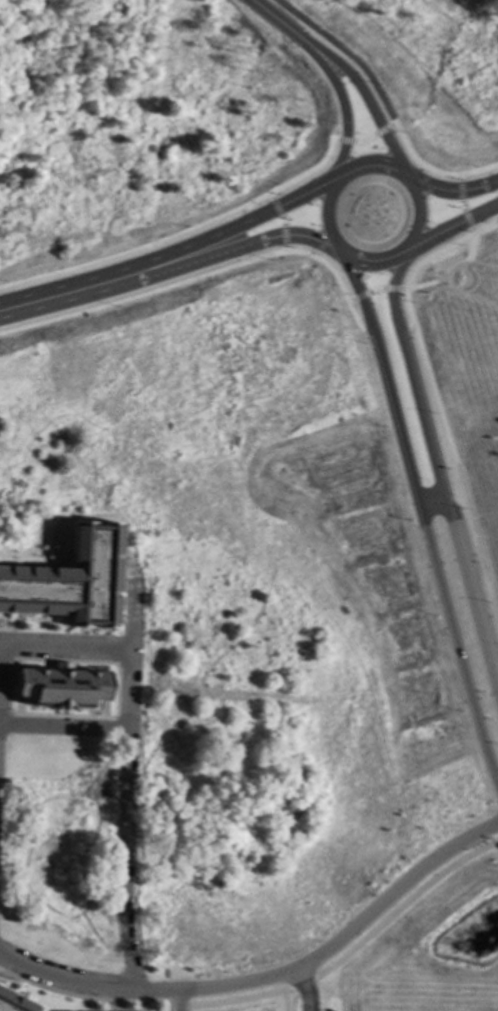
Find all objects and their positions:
road: (276, 22)
road: (343, 53)
road: (366, 102)
road: (340, 107)
road: (372, 135)
road: (495, 165)
road: (495, 167)
road: (336, 181)
road: (451, 192)
road: (290, 202)
road: (496, 205)
road: (459, 206)
road: (245, 213)
road: (494, 218)
road: (280, 221)
road: (448, 228)
road: (486, 229)
road: (285, 236)
road: (405, 246)
road: (128, 252)
road: (311, 257)
road: (234, 258)
road: (420, 264)
road: (124, 269)
road: (450, 272)
road: (116, 287)
road: (375, 290)
road: (356, 292)
road: (392, 294)
road: (470, 298)
road: (128, 300)
road: (356, 322)
road: (406, 329)
park: (462, 378)
road: (457, 470)
road: (430, 497)
road: (448, 524)
road: (269, 557)
road: (435, 564)
building: (68, 584)
road: (6, 629)
road: (242, 633)
road: (64, 648)
road: (11, 651)
building: (61, 687)
road: (253, 696)
road: (5, 713)
road: (63, 728)
road: (125, 770)
road: (331, 945)
road: (350, 950)
road: (63, 981)
road: (304, 988)
road: (86, 999)
road: (178, 999)
road: (282, 1000)
building: (14, 1003)

